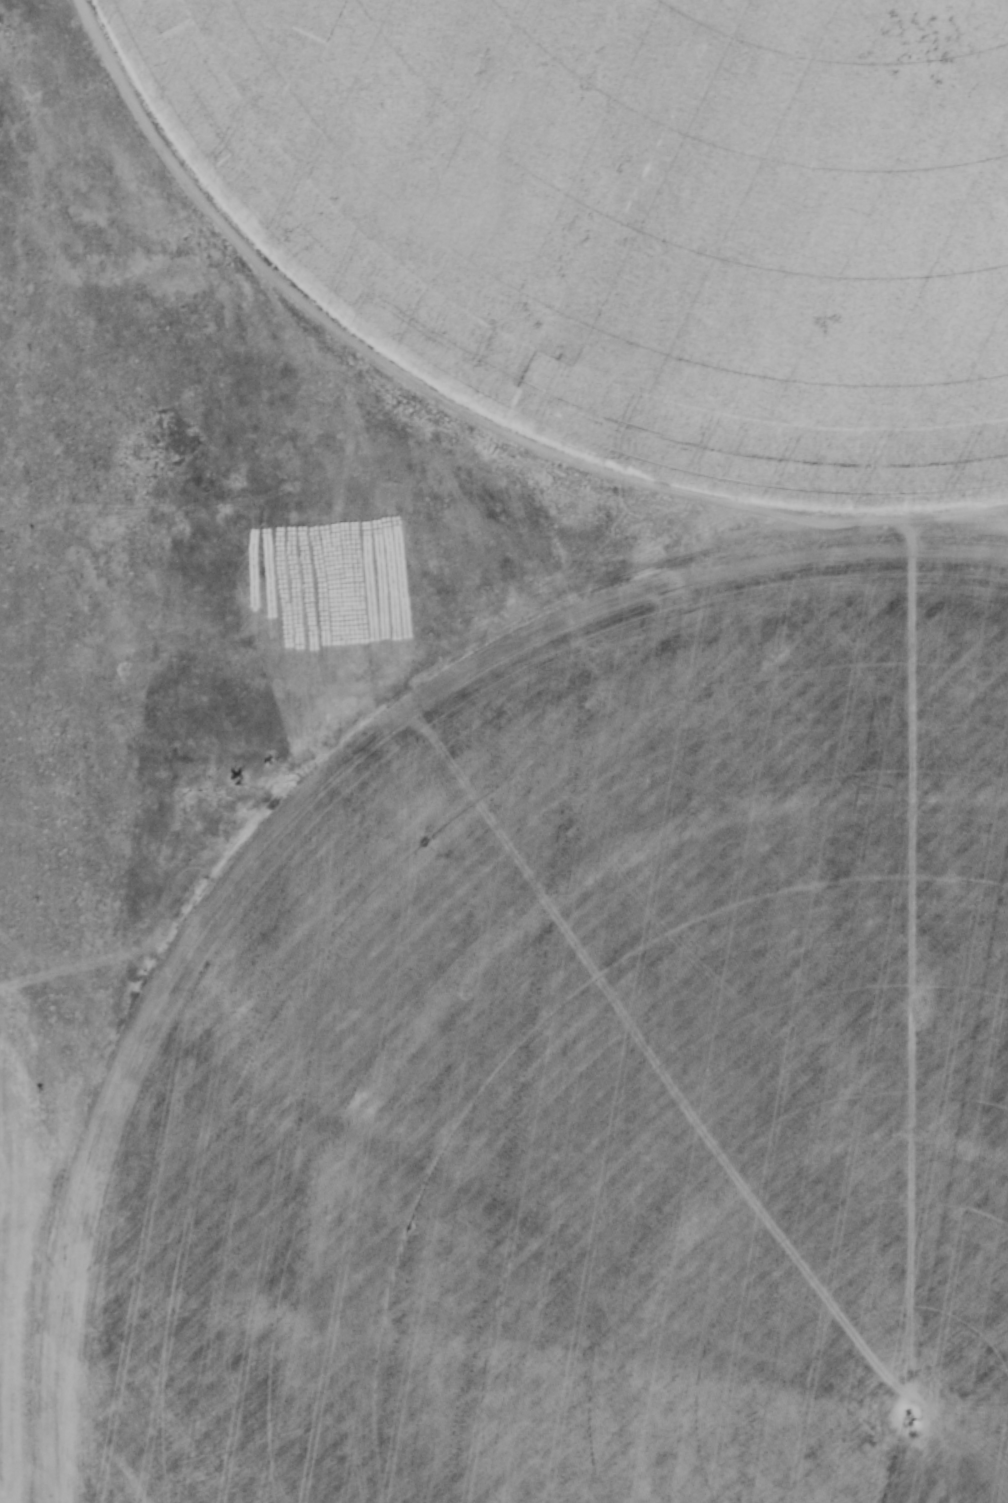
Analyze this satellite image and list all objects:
crop: (645, 211)
crop: (579, 1076)

